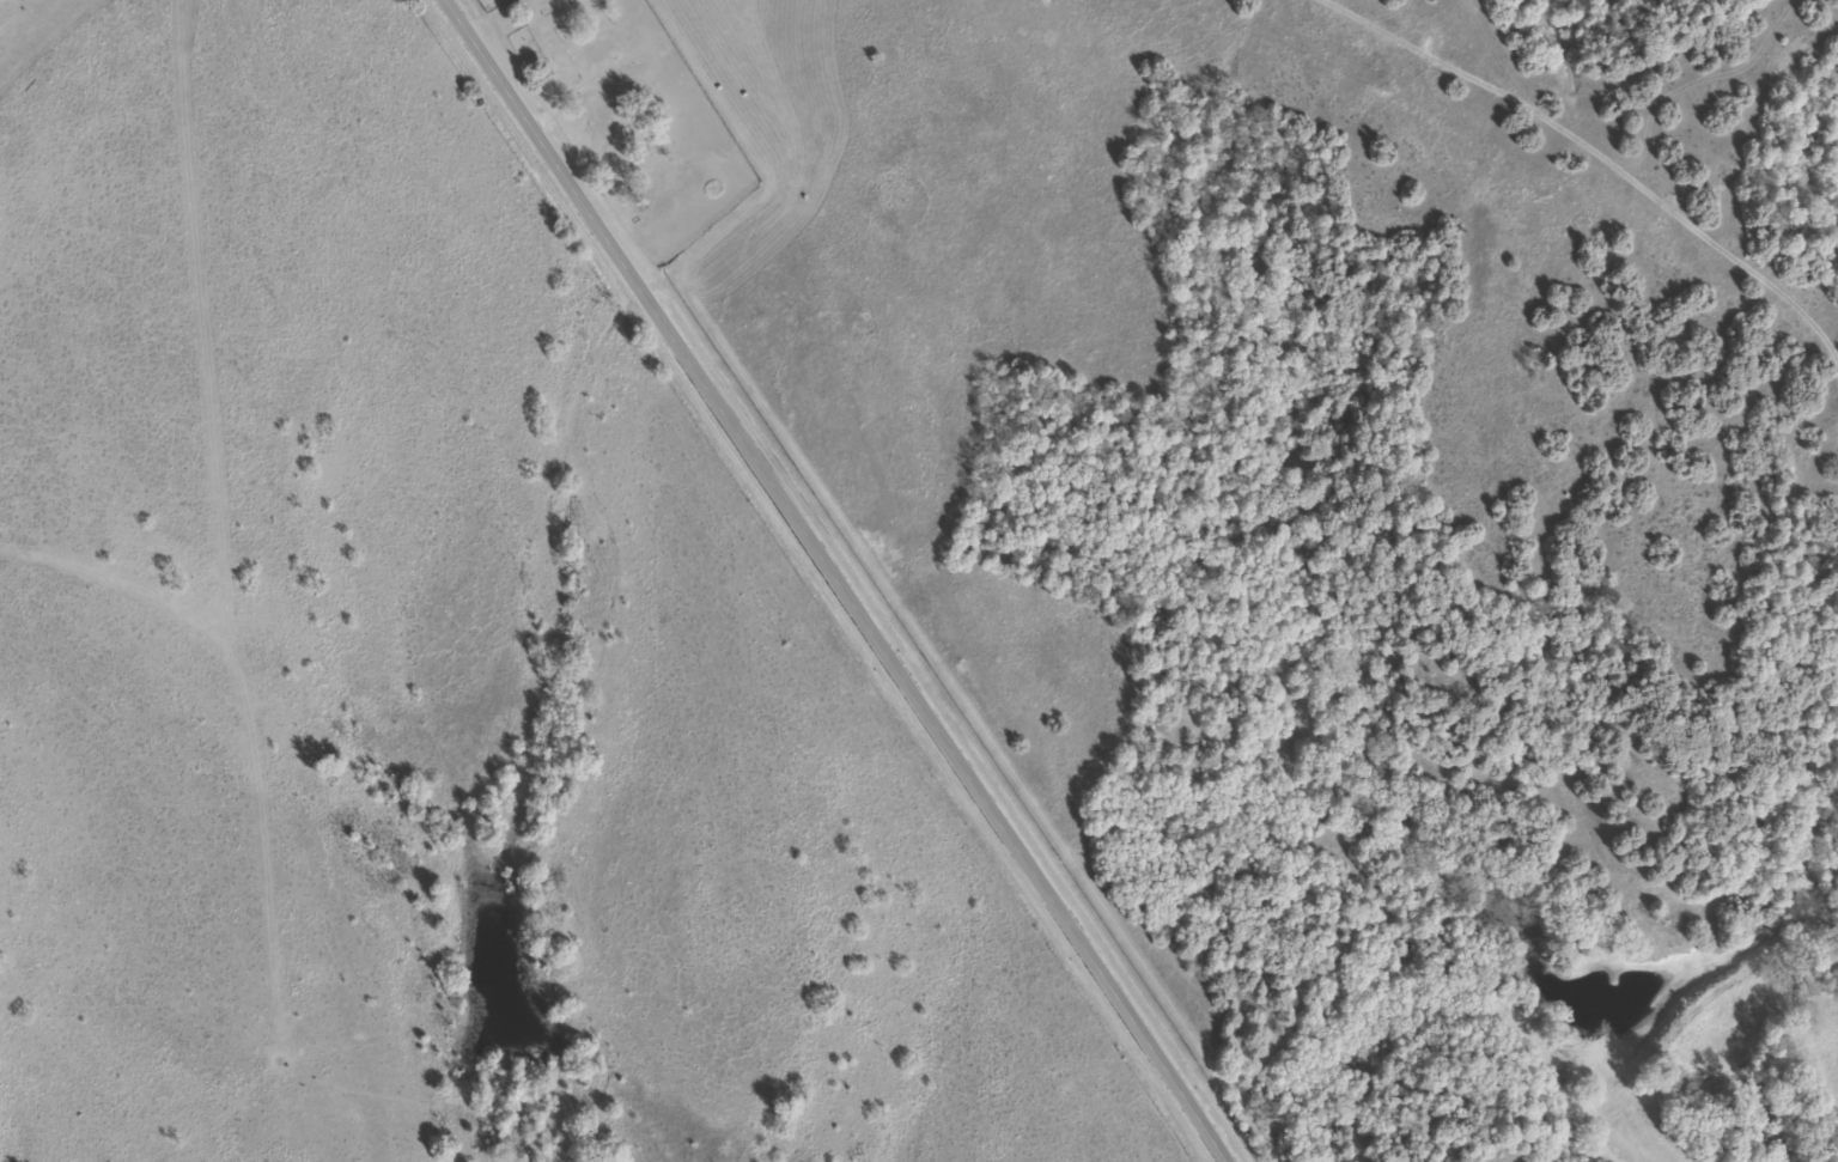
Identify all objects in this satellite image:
road: (29, 23)
park: (632, 114)
road: (835, 580)

